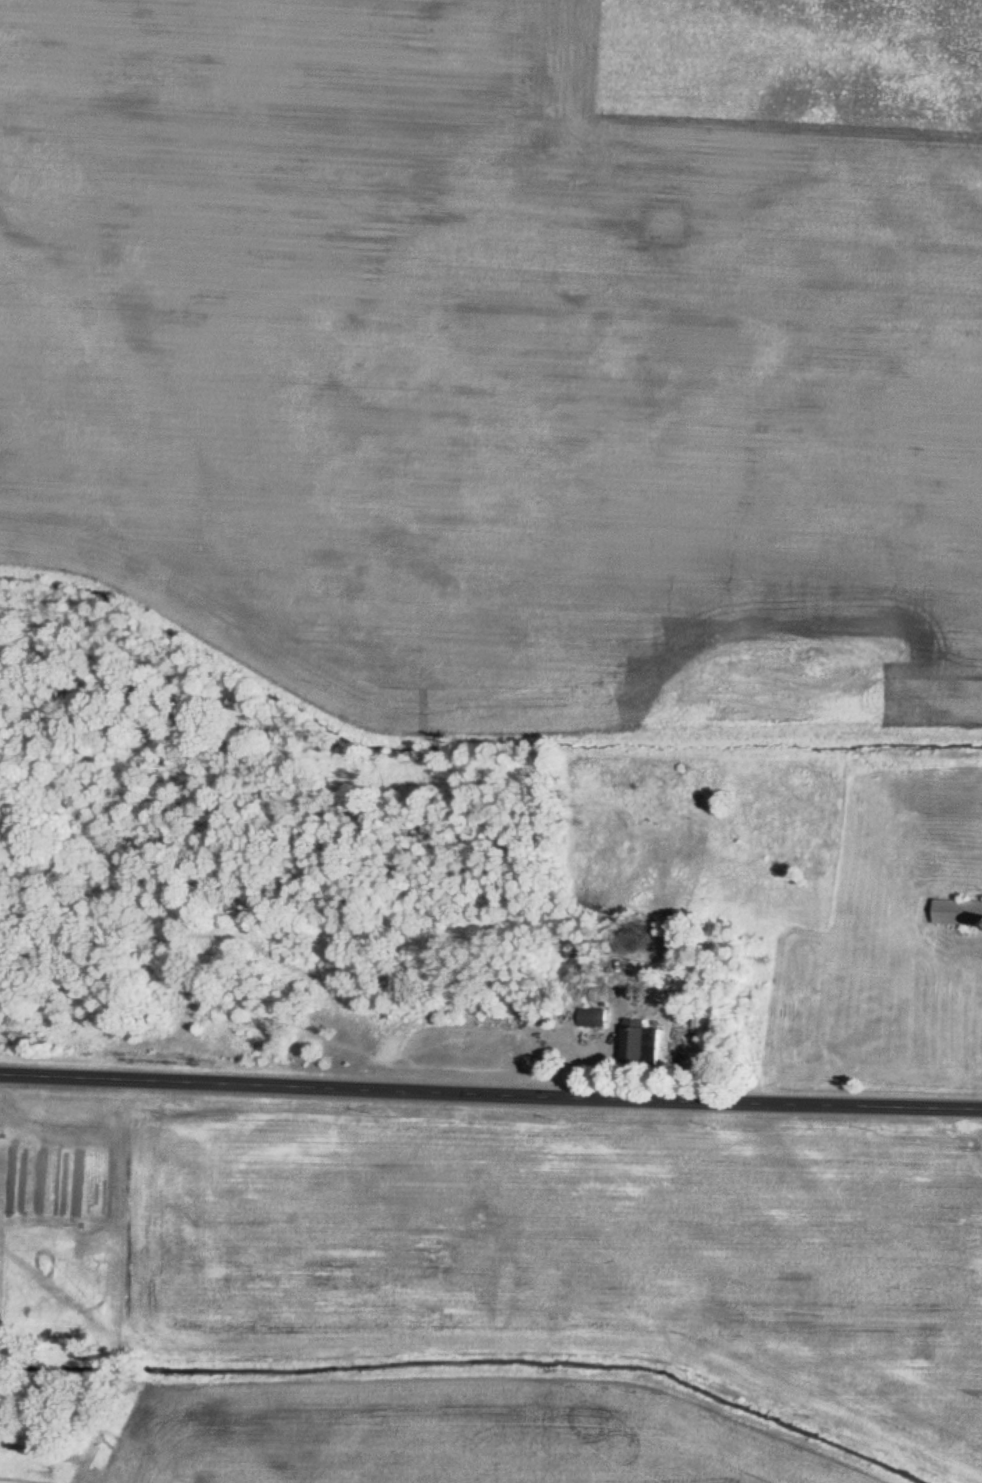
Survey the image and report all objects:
building: (960, 915)
building: (597, 1020)
building: (646, 1046)
road: (490, 1094)

